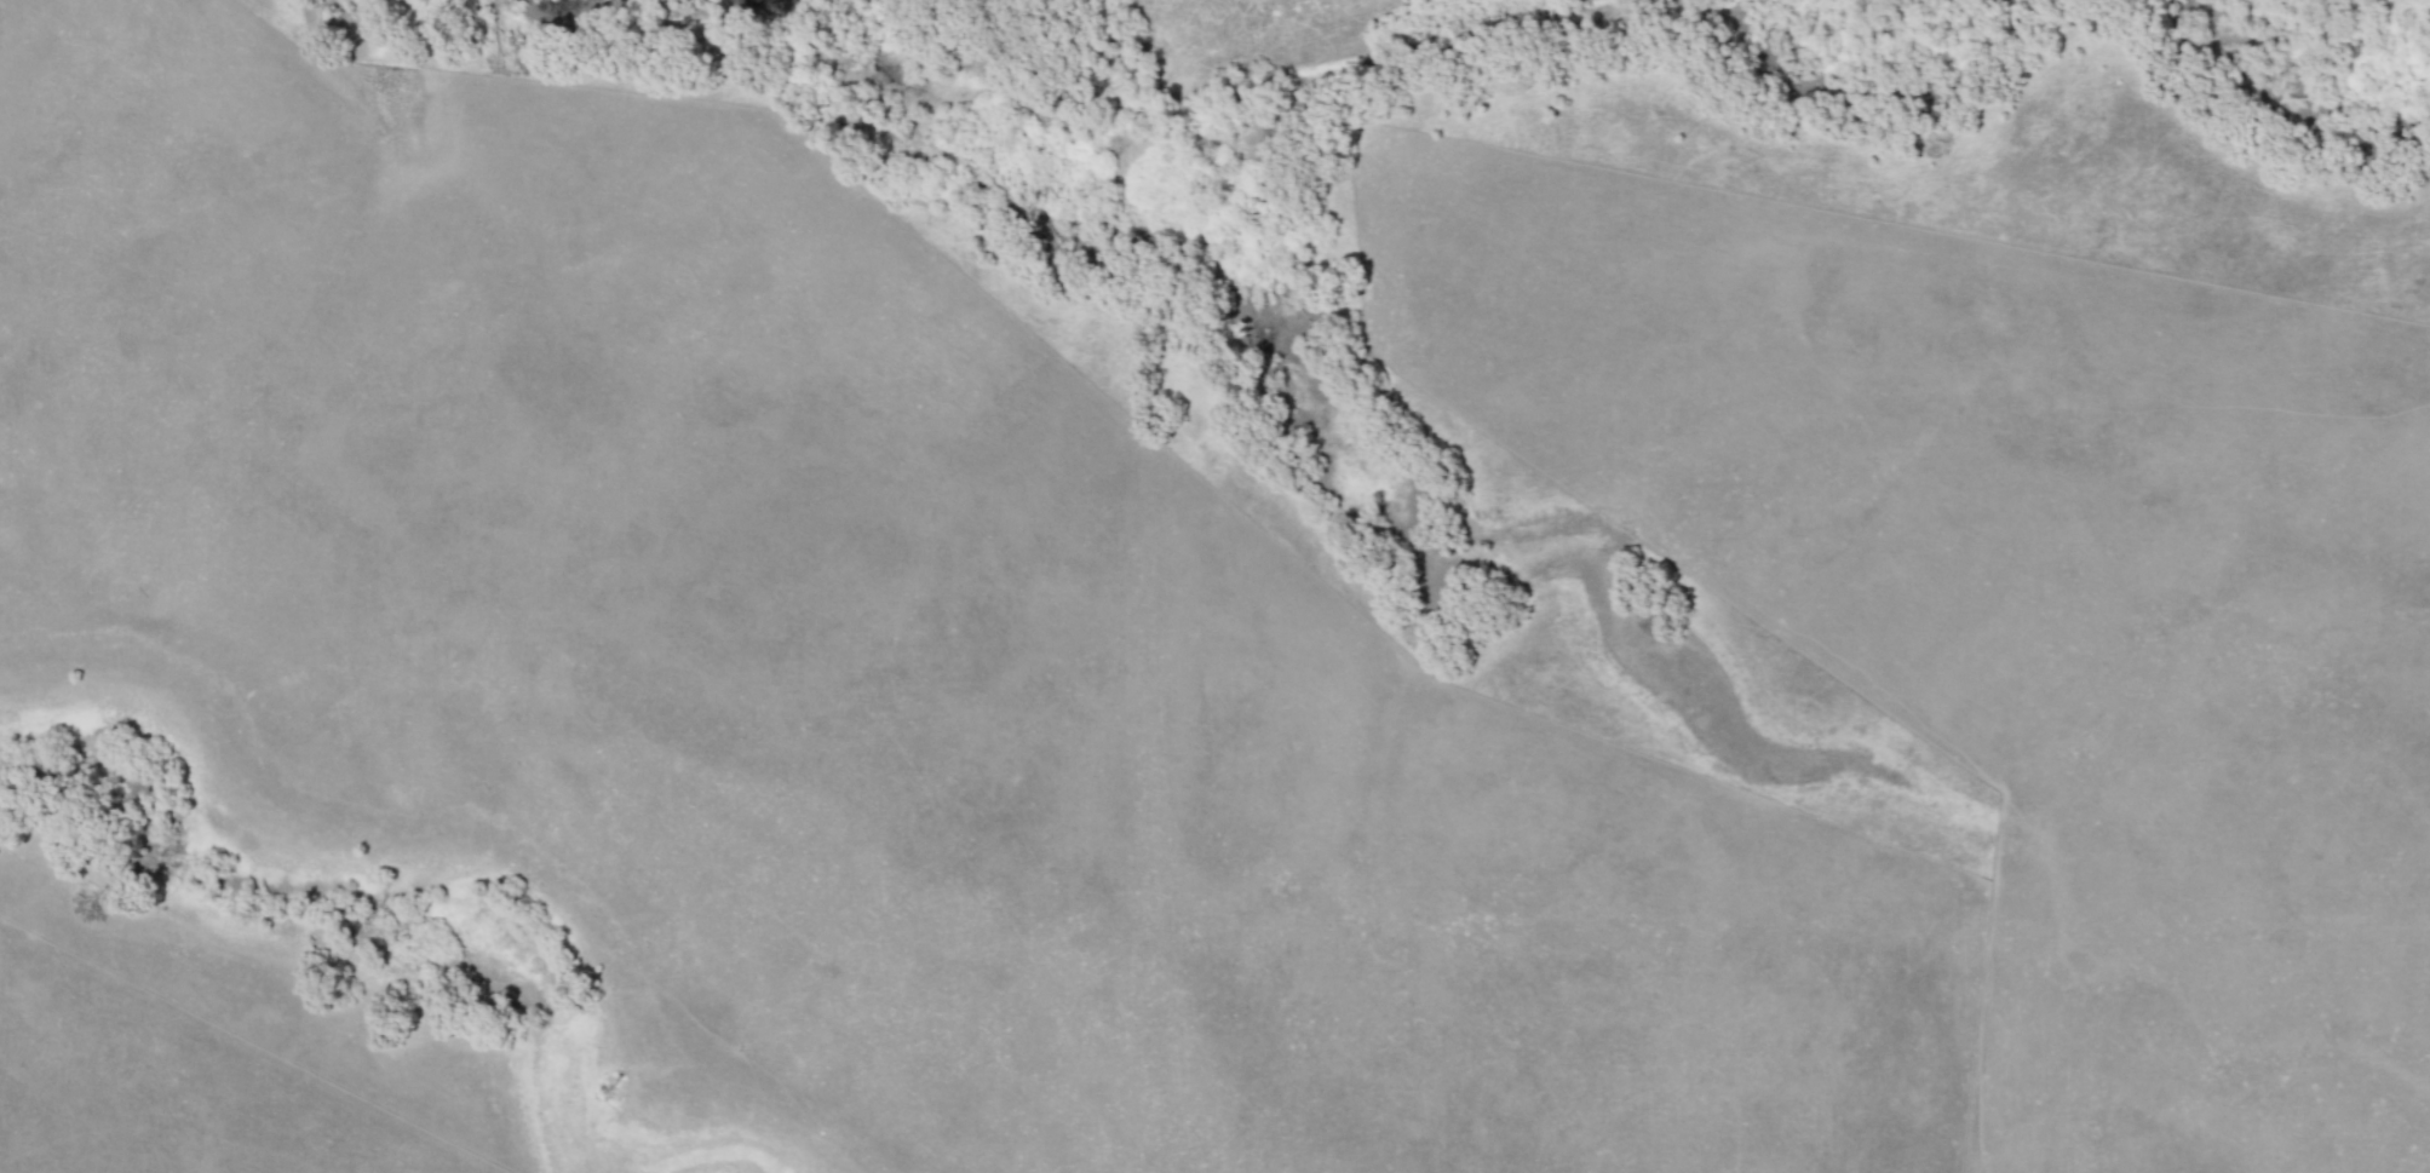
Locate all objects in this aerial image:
crop: (1808, 1036)
crop: (700, 1160)

